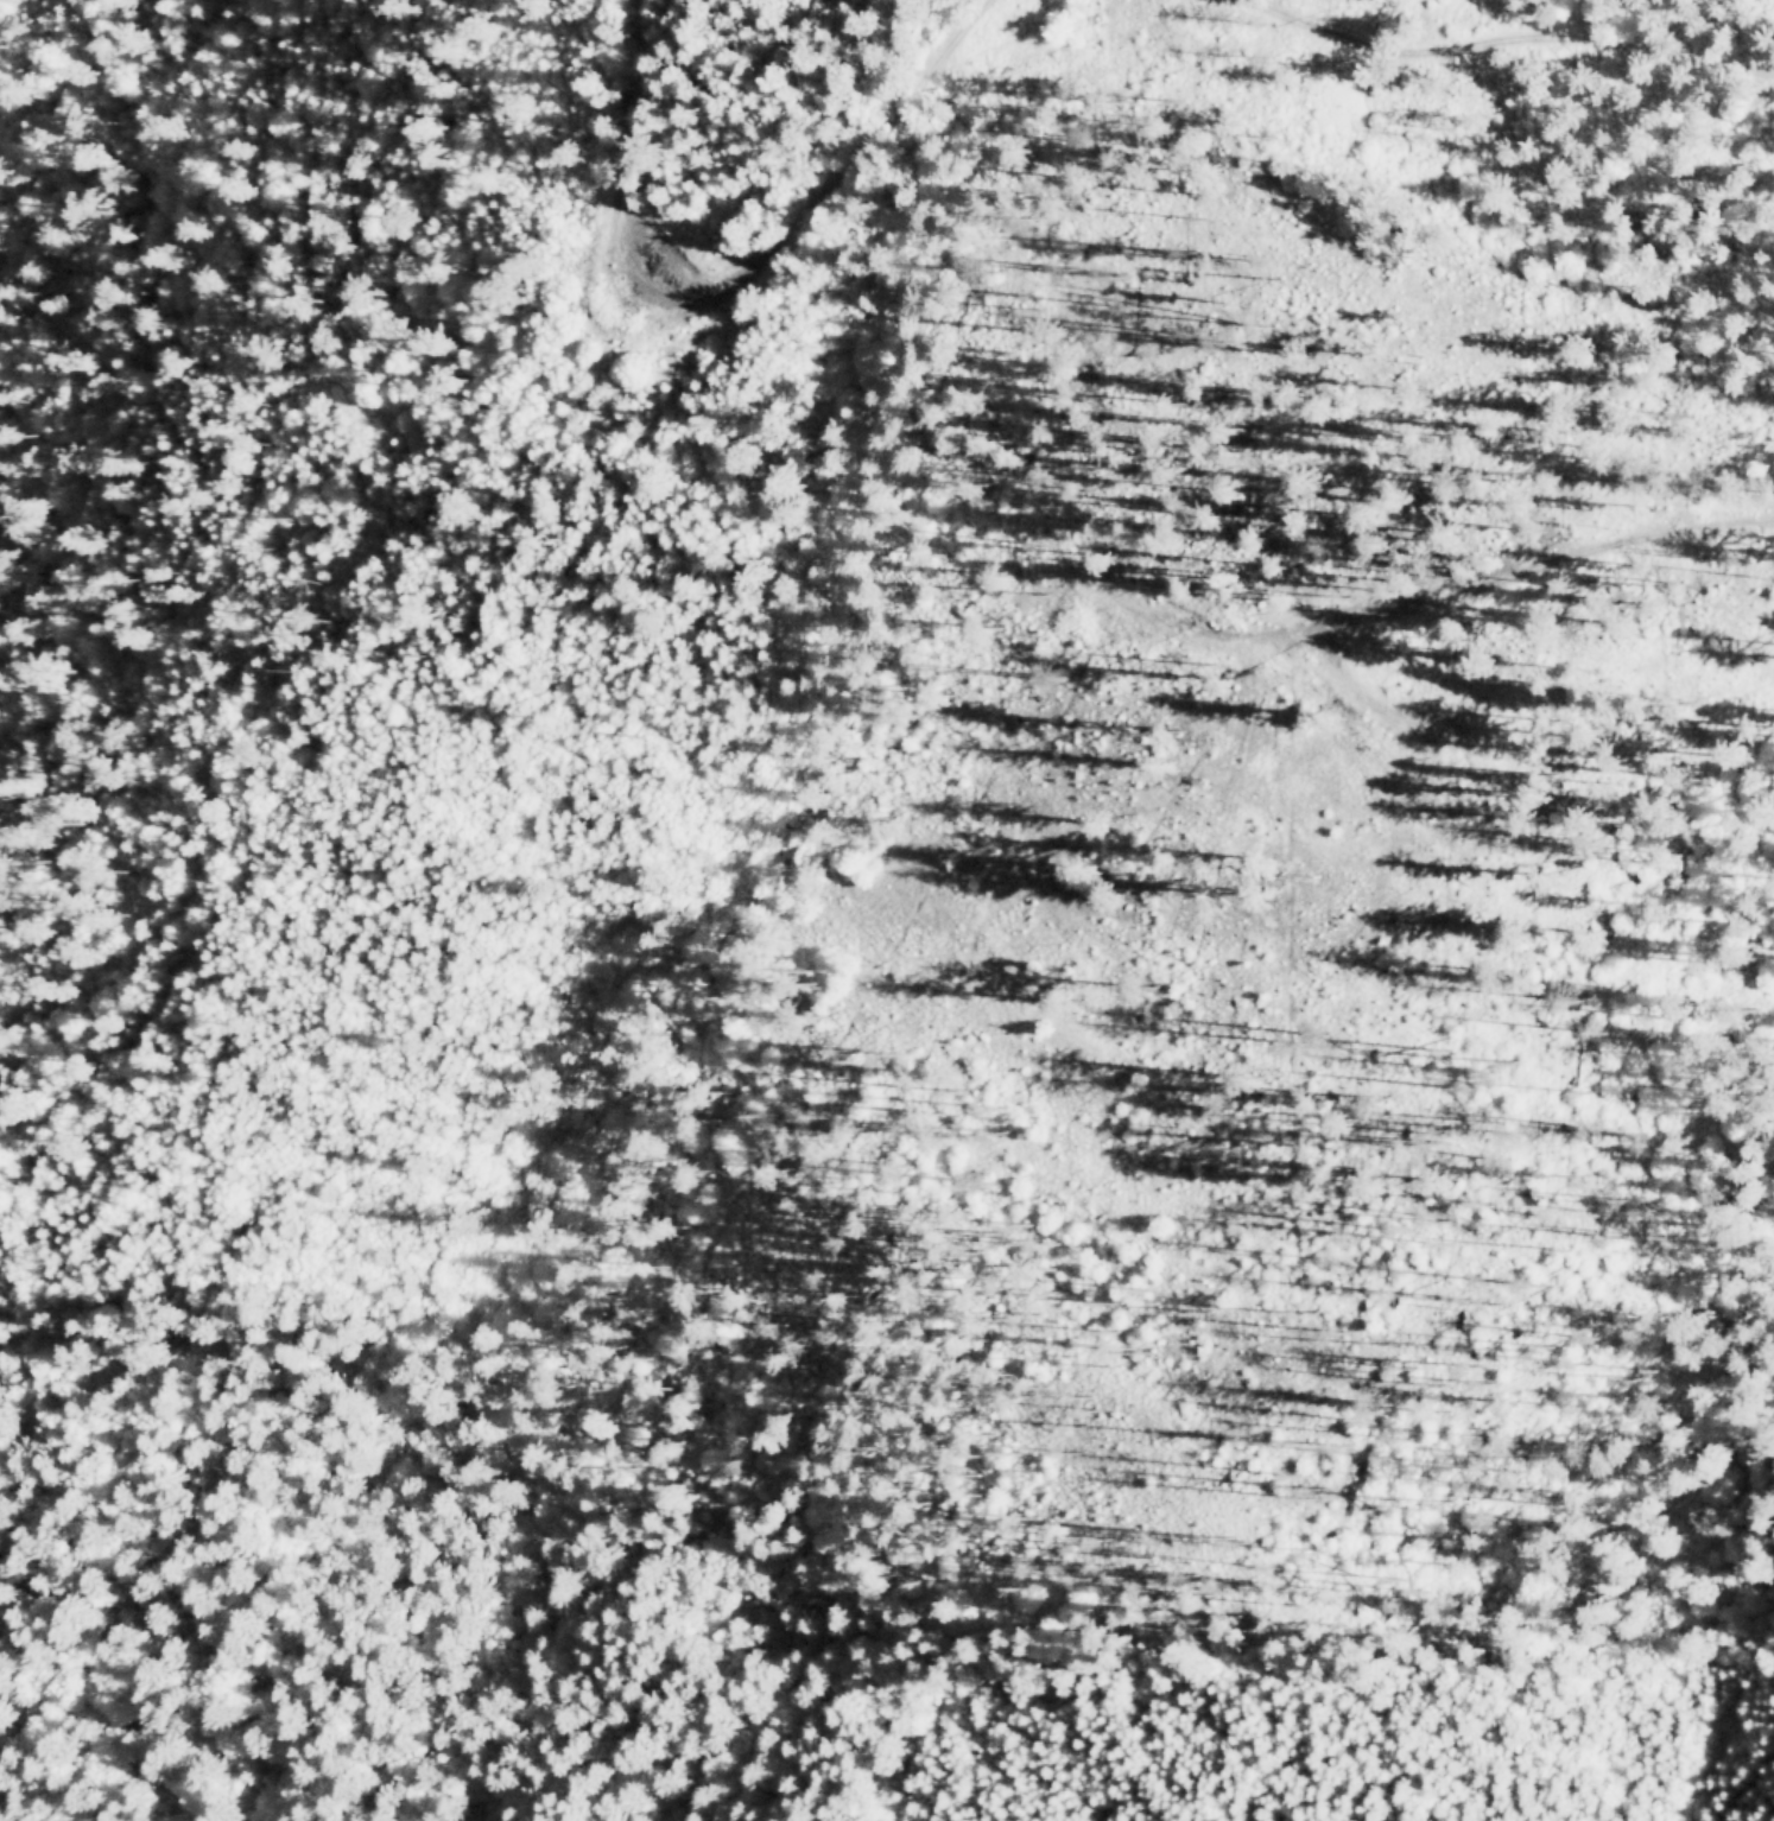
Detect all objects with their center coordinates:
road: (1554, 38)
road: (729, 275)
road: (1444, 598)

